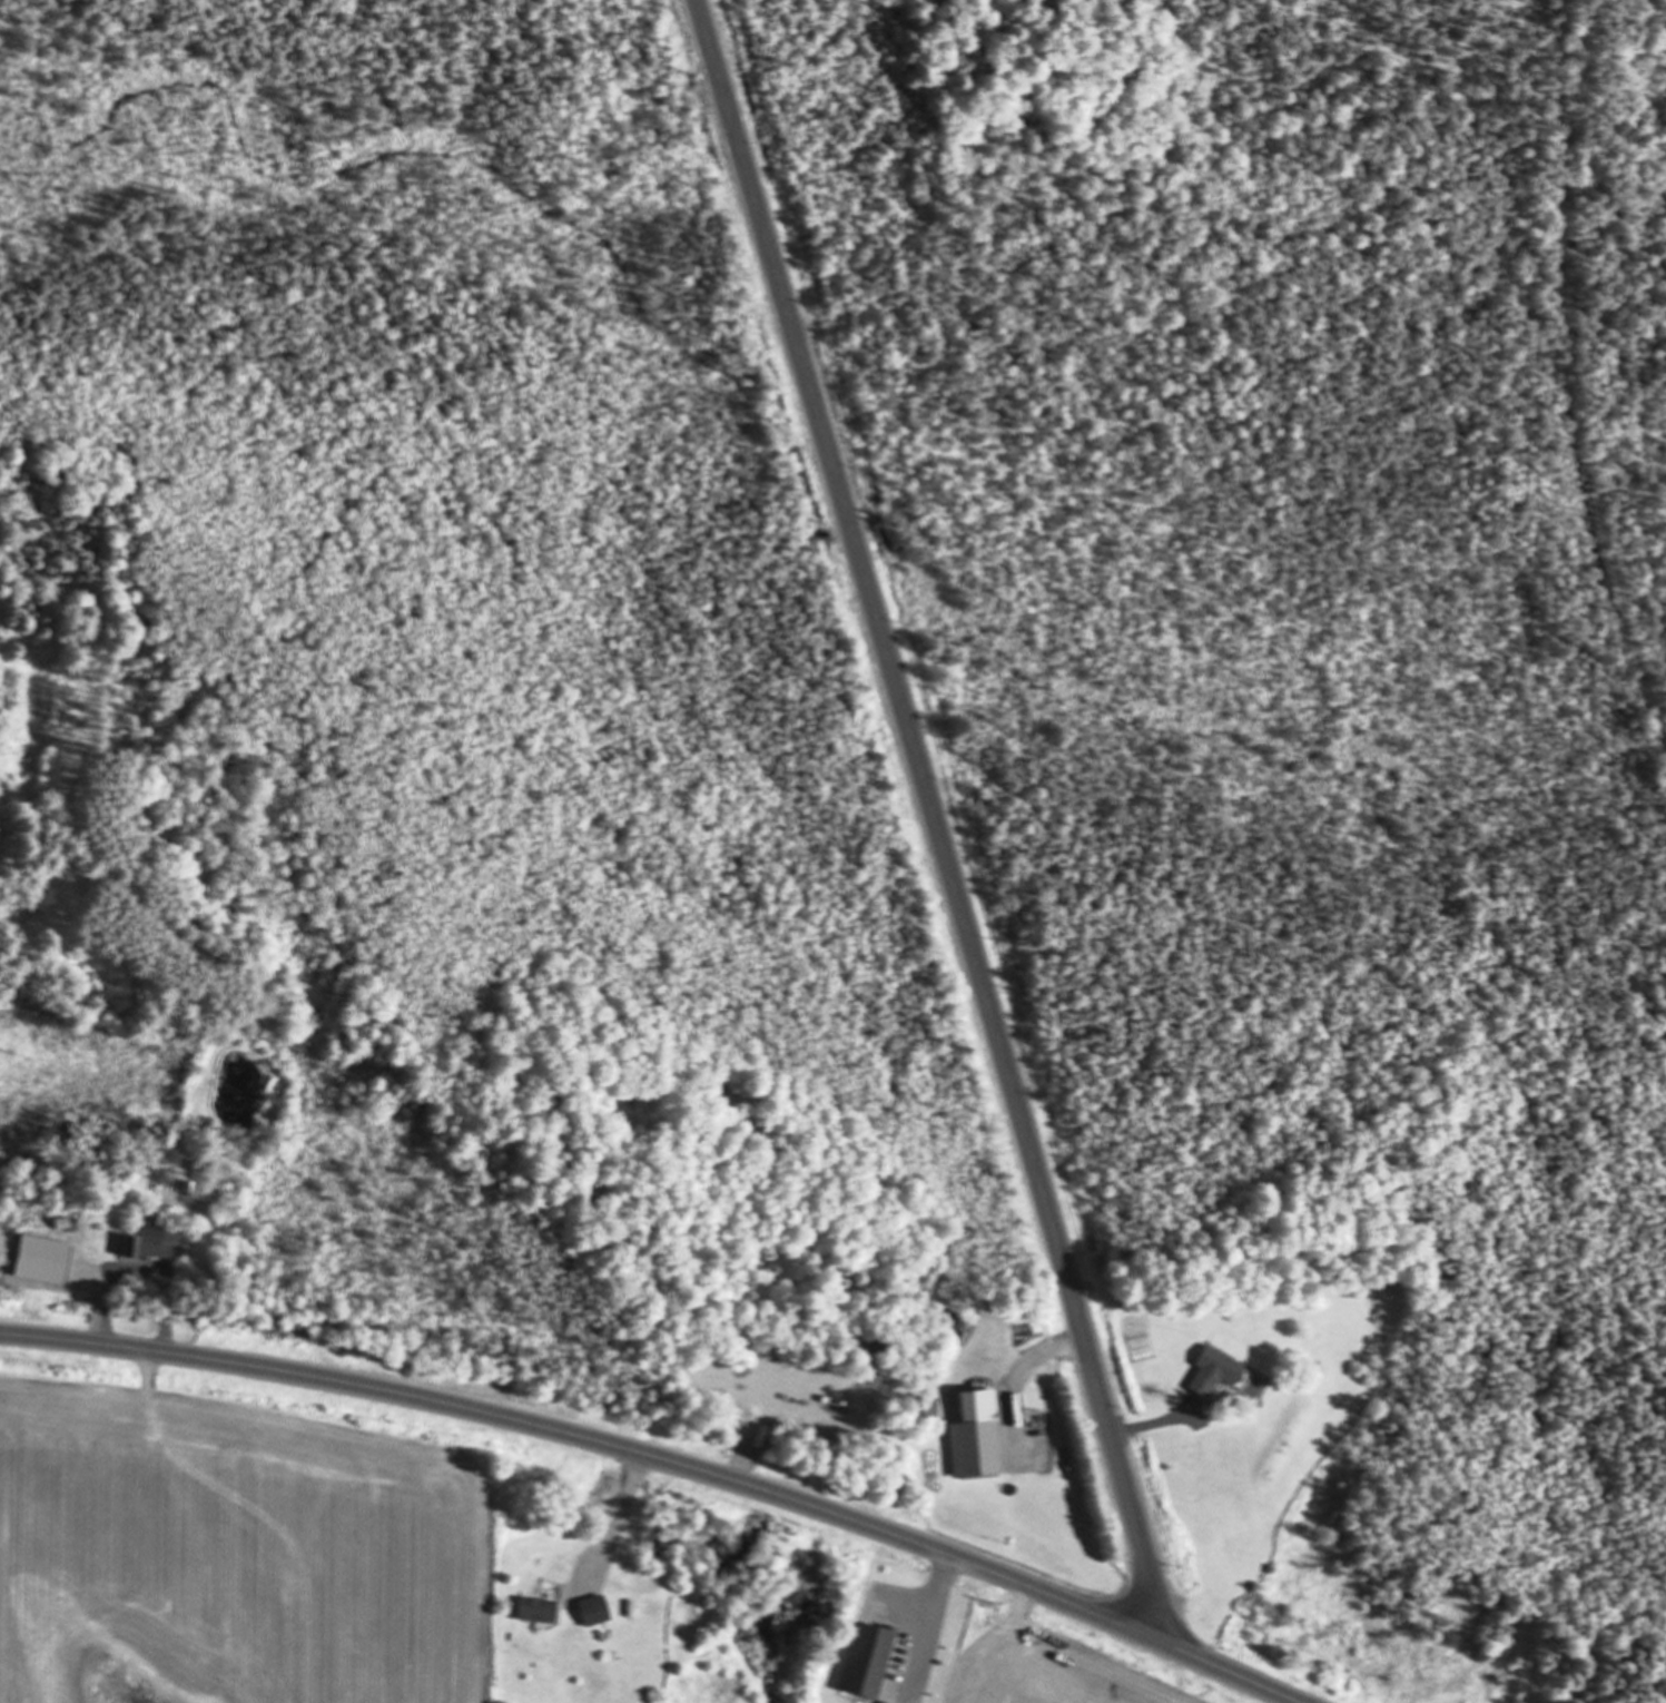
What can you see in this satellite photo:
road: (934, 824)
building: (157, 1246)
building: (1214, 1372)
road: (600, 1441)
building: (977, 1450)
building: (539, 1612)
building: (595, 1613)
building: (867, 1661)
road: (1235, 1675)

